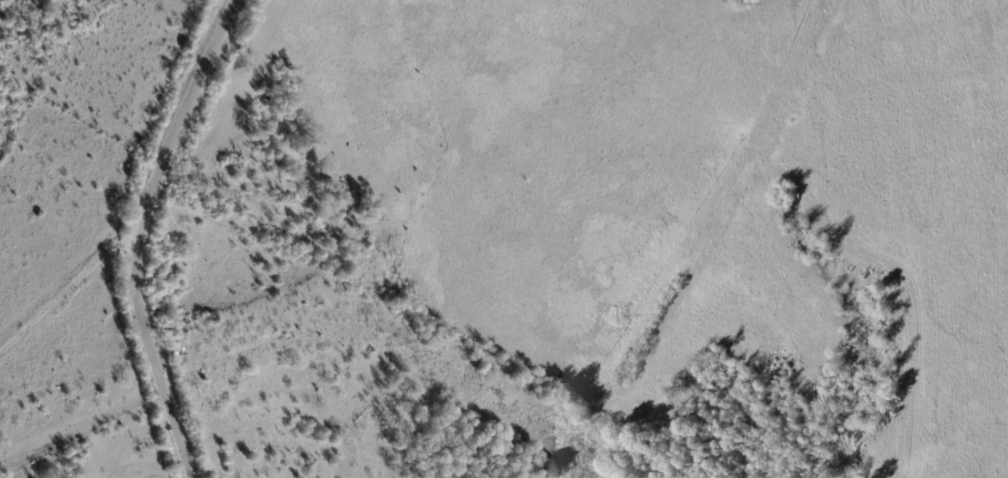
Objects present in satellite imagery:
road: (142, 233)
road: (67, 288)

